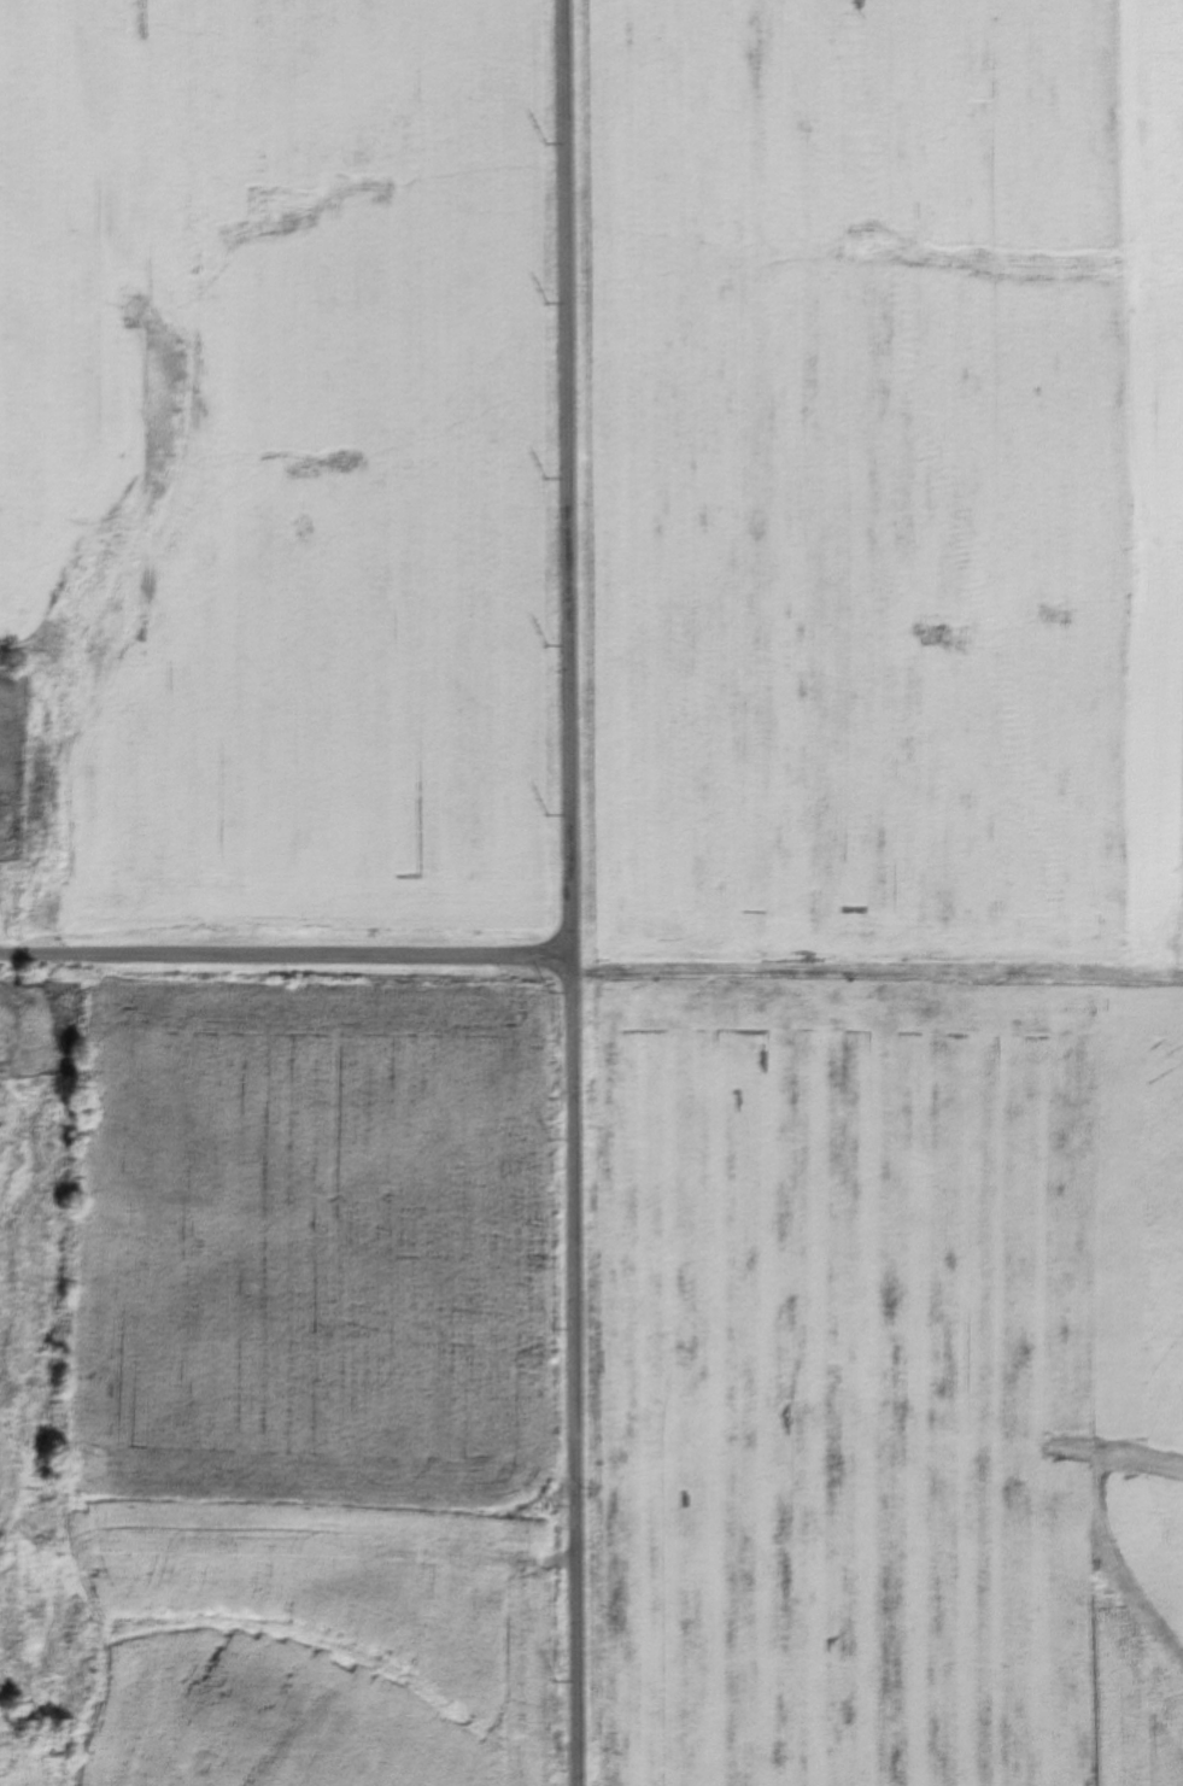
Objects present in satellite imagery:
road: (568, 892)
road: (285, 953)

